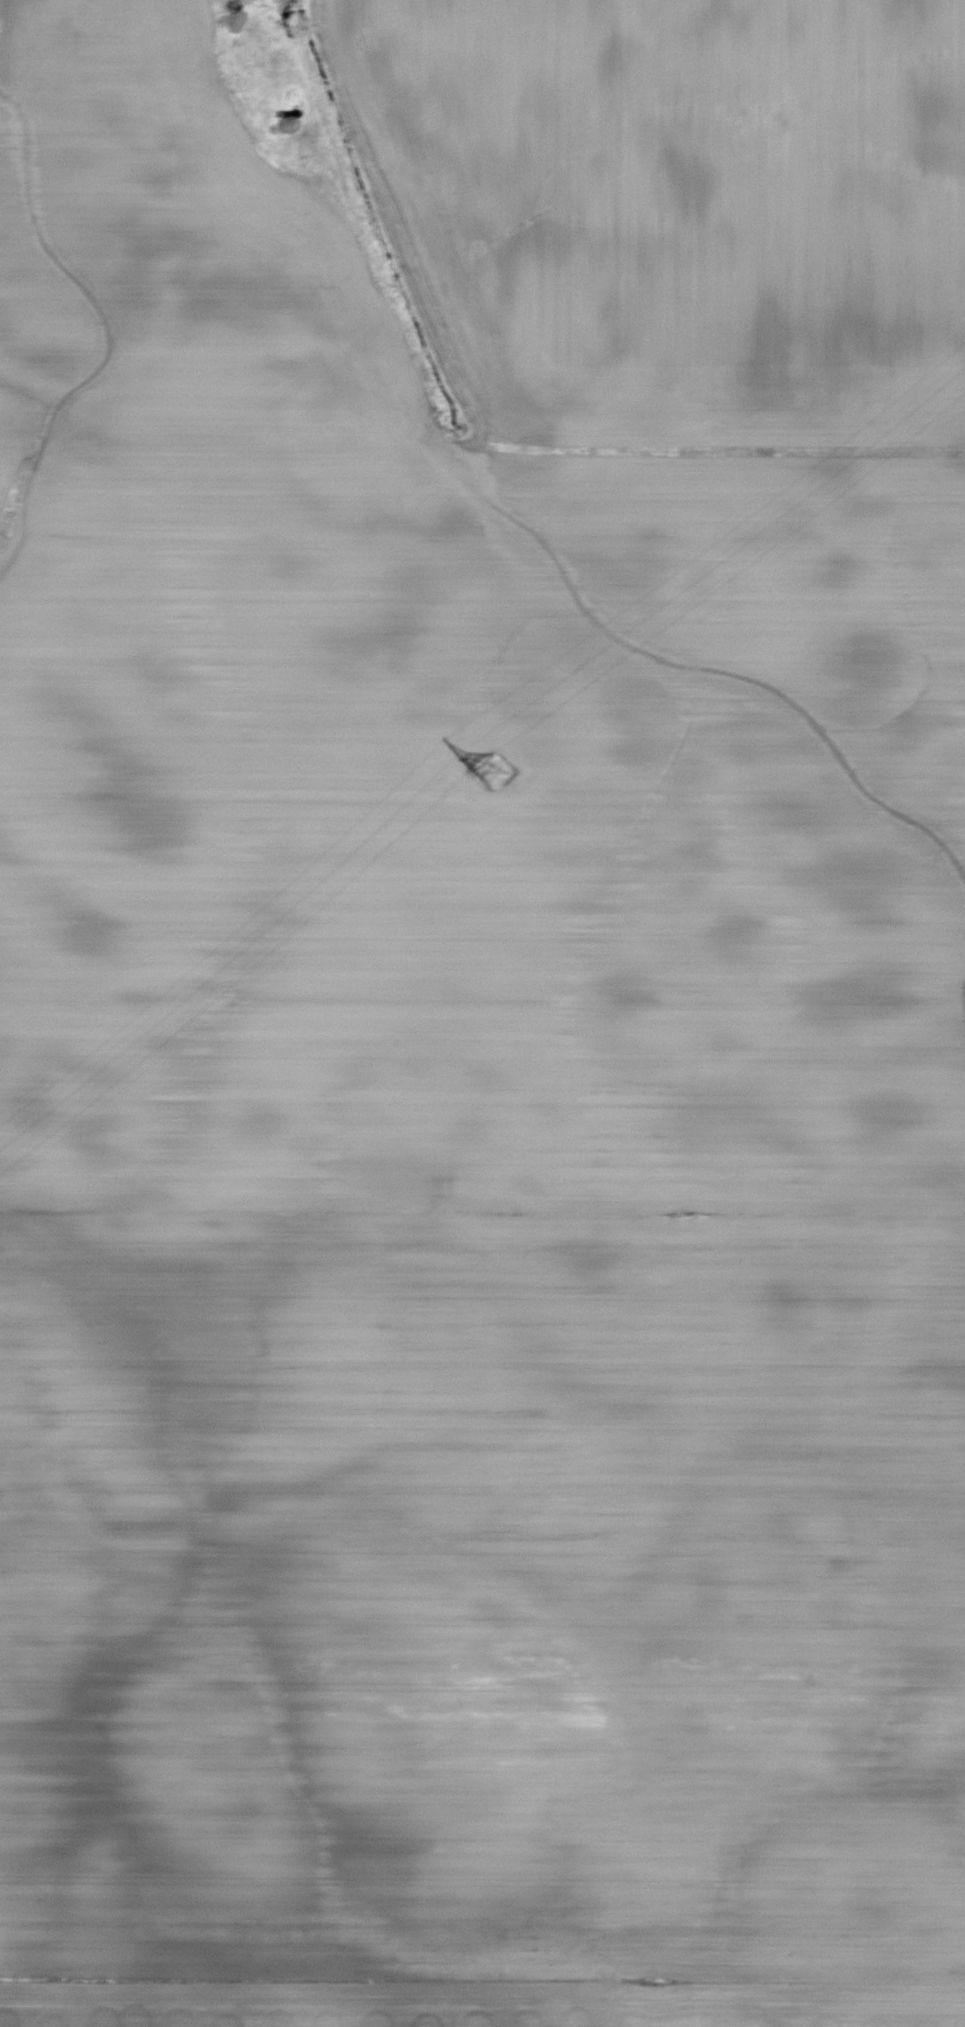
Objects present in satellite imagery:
power tower: (488, 771)

